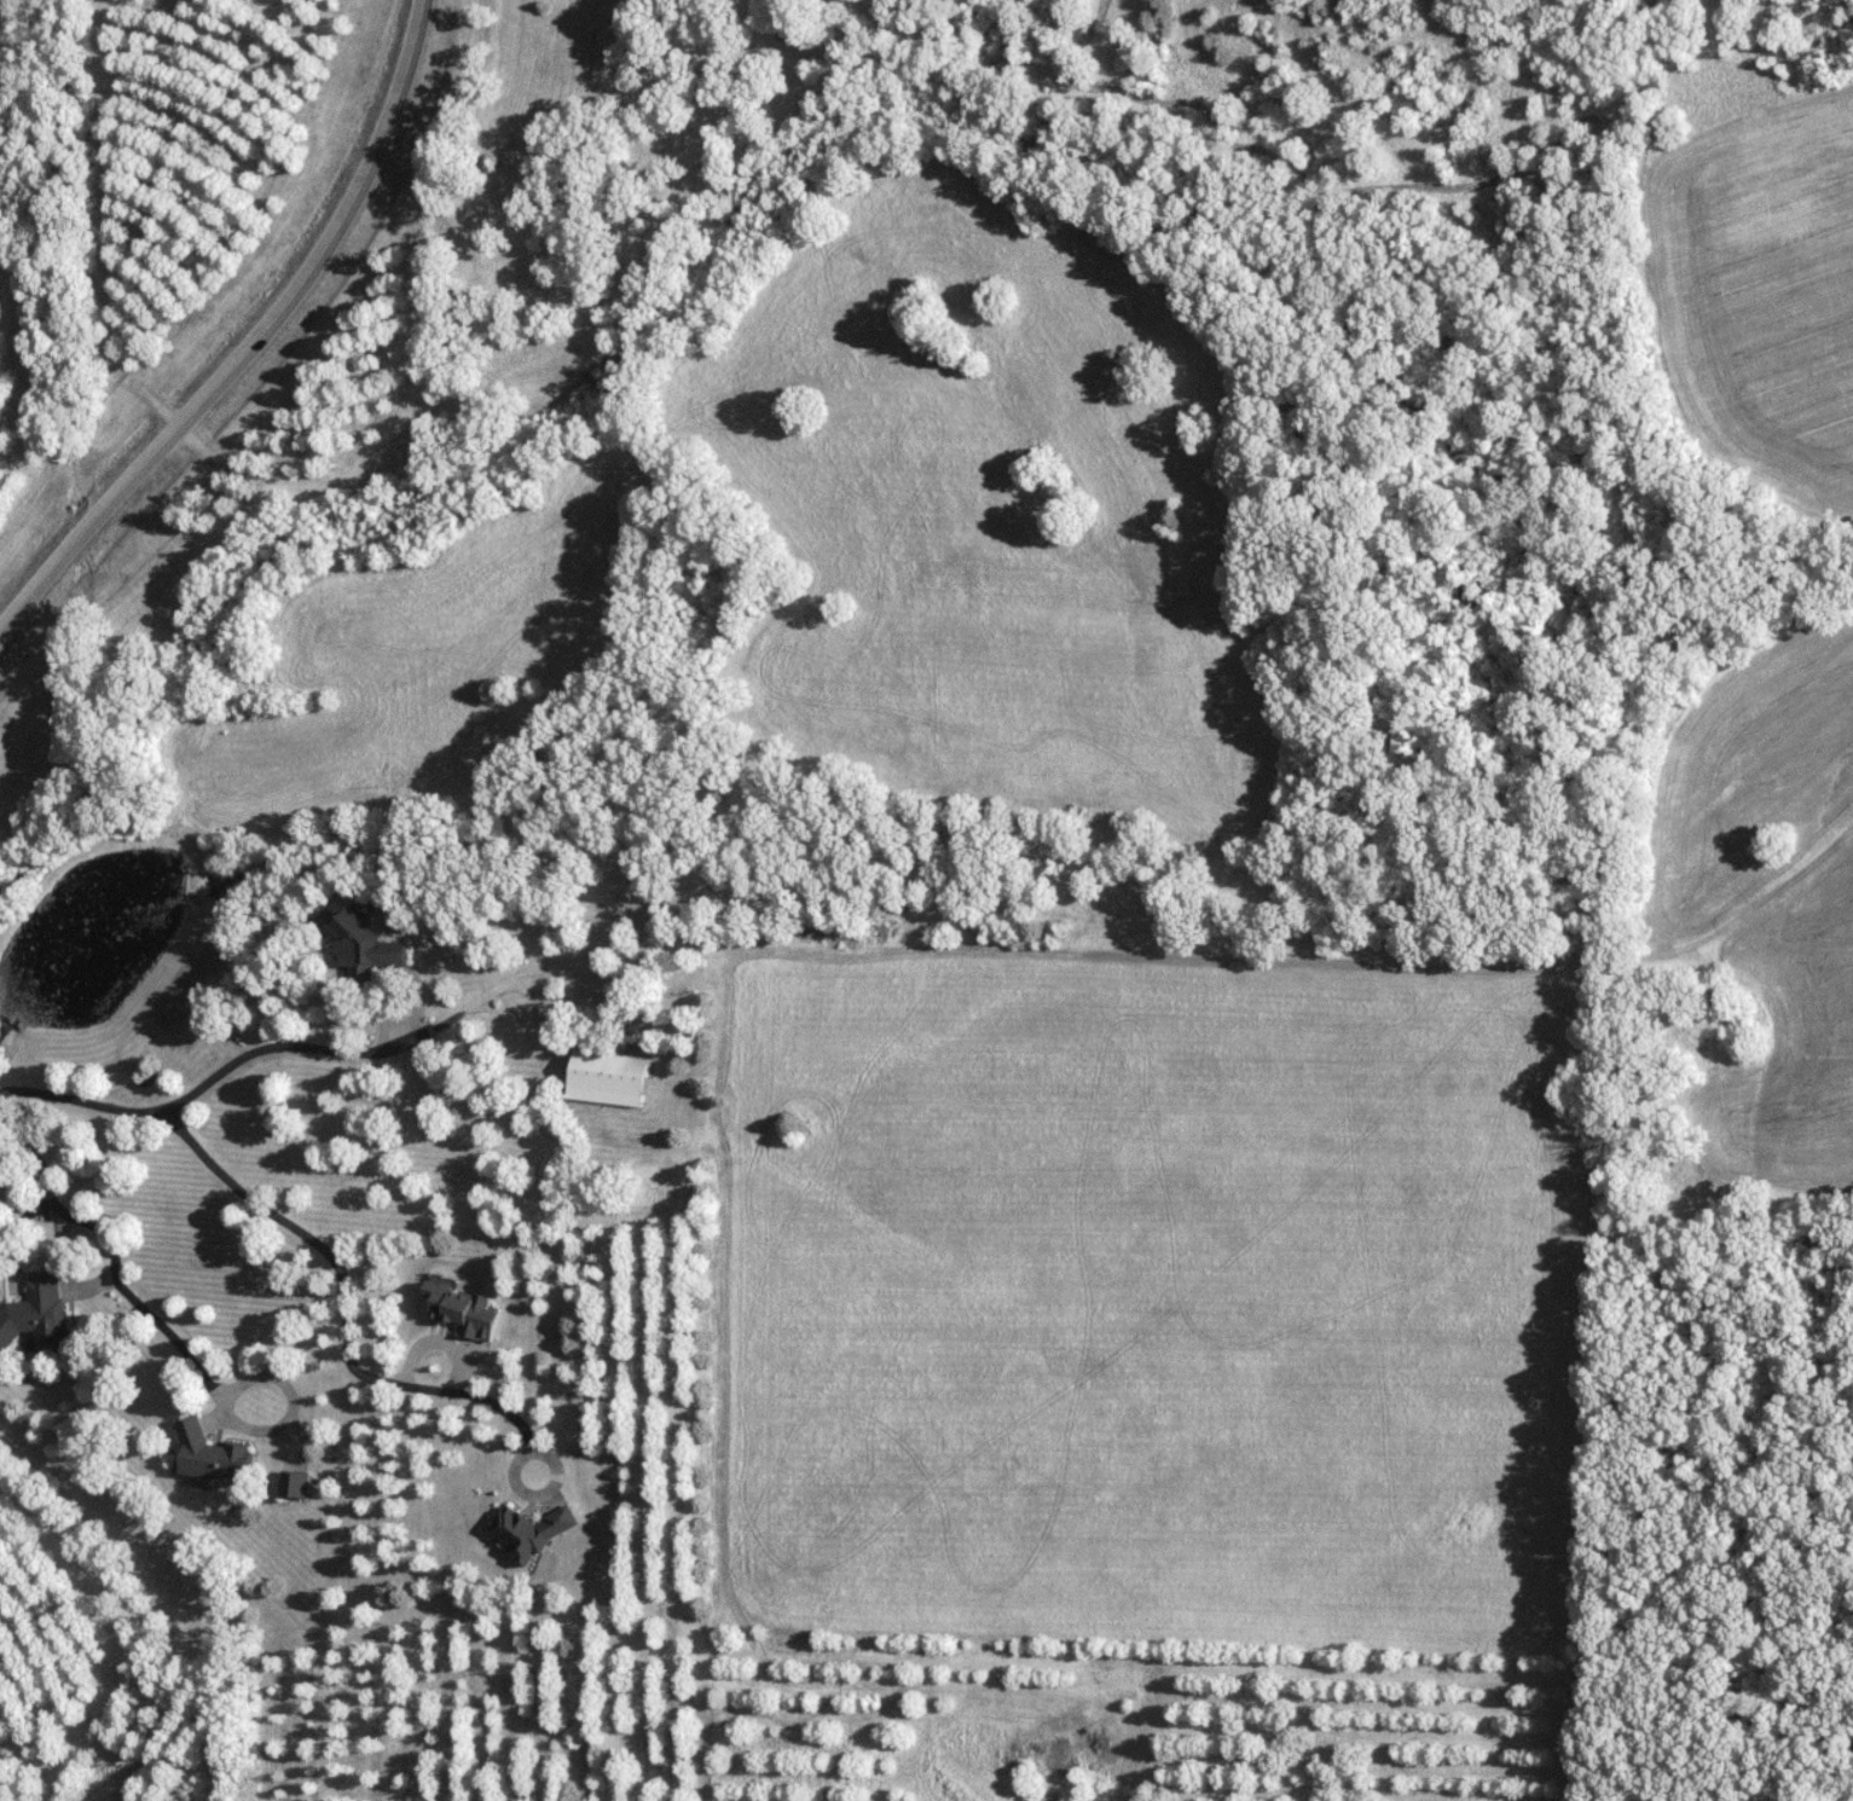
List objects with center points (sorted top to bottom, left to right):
road: (260, 349)
building: (361, 939)
road: (302, 1052)
building: (596, 1076)
road: (114, 1276)
building: (467, 1309)
road: (343, 1313)
building: (35, 1314)
building: (210, 1454)
building: (296, 1484)
building: (528, 1530)

